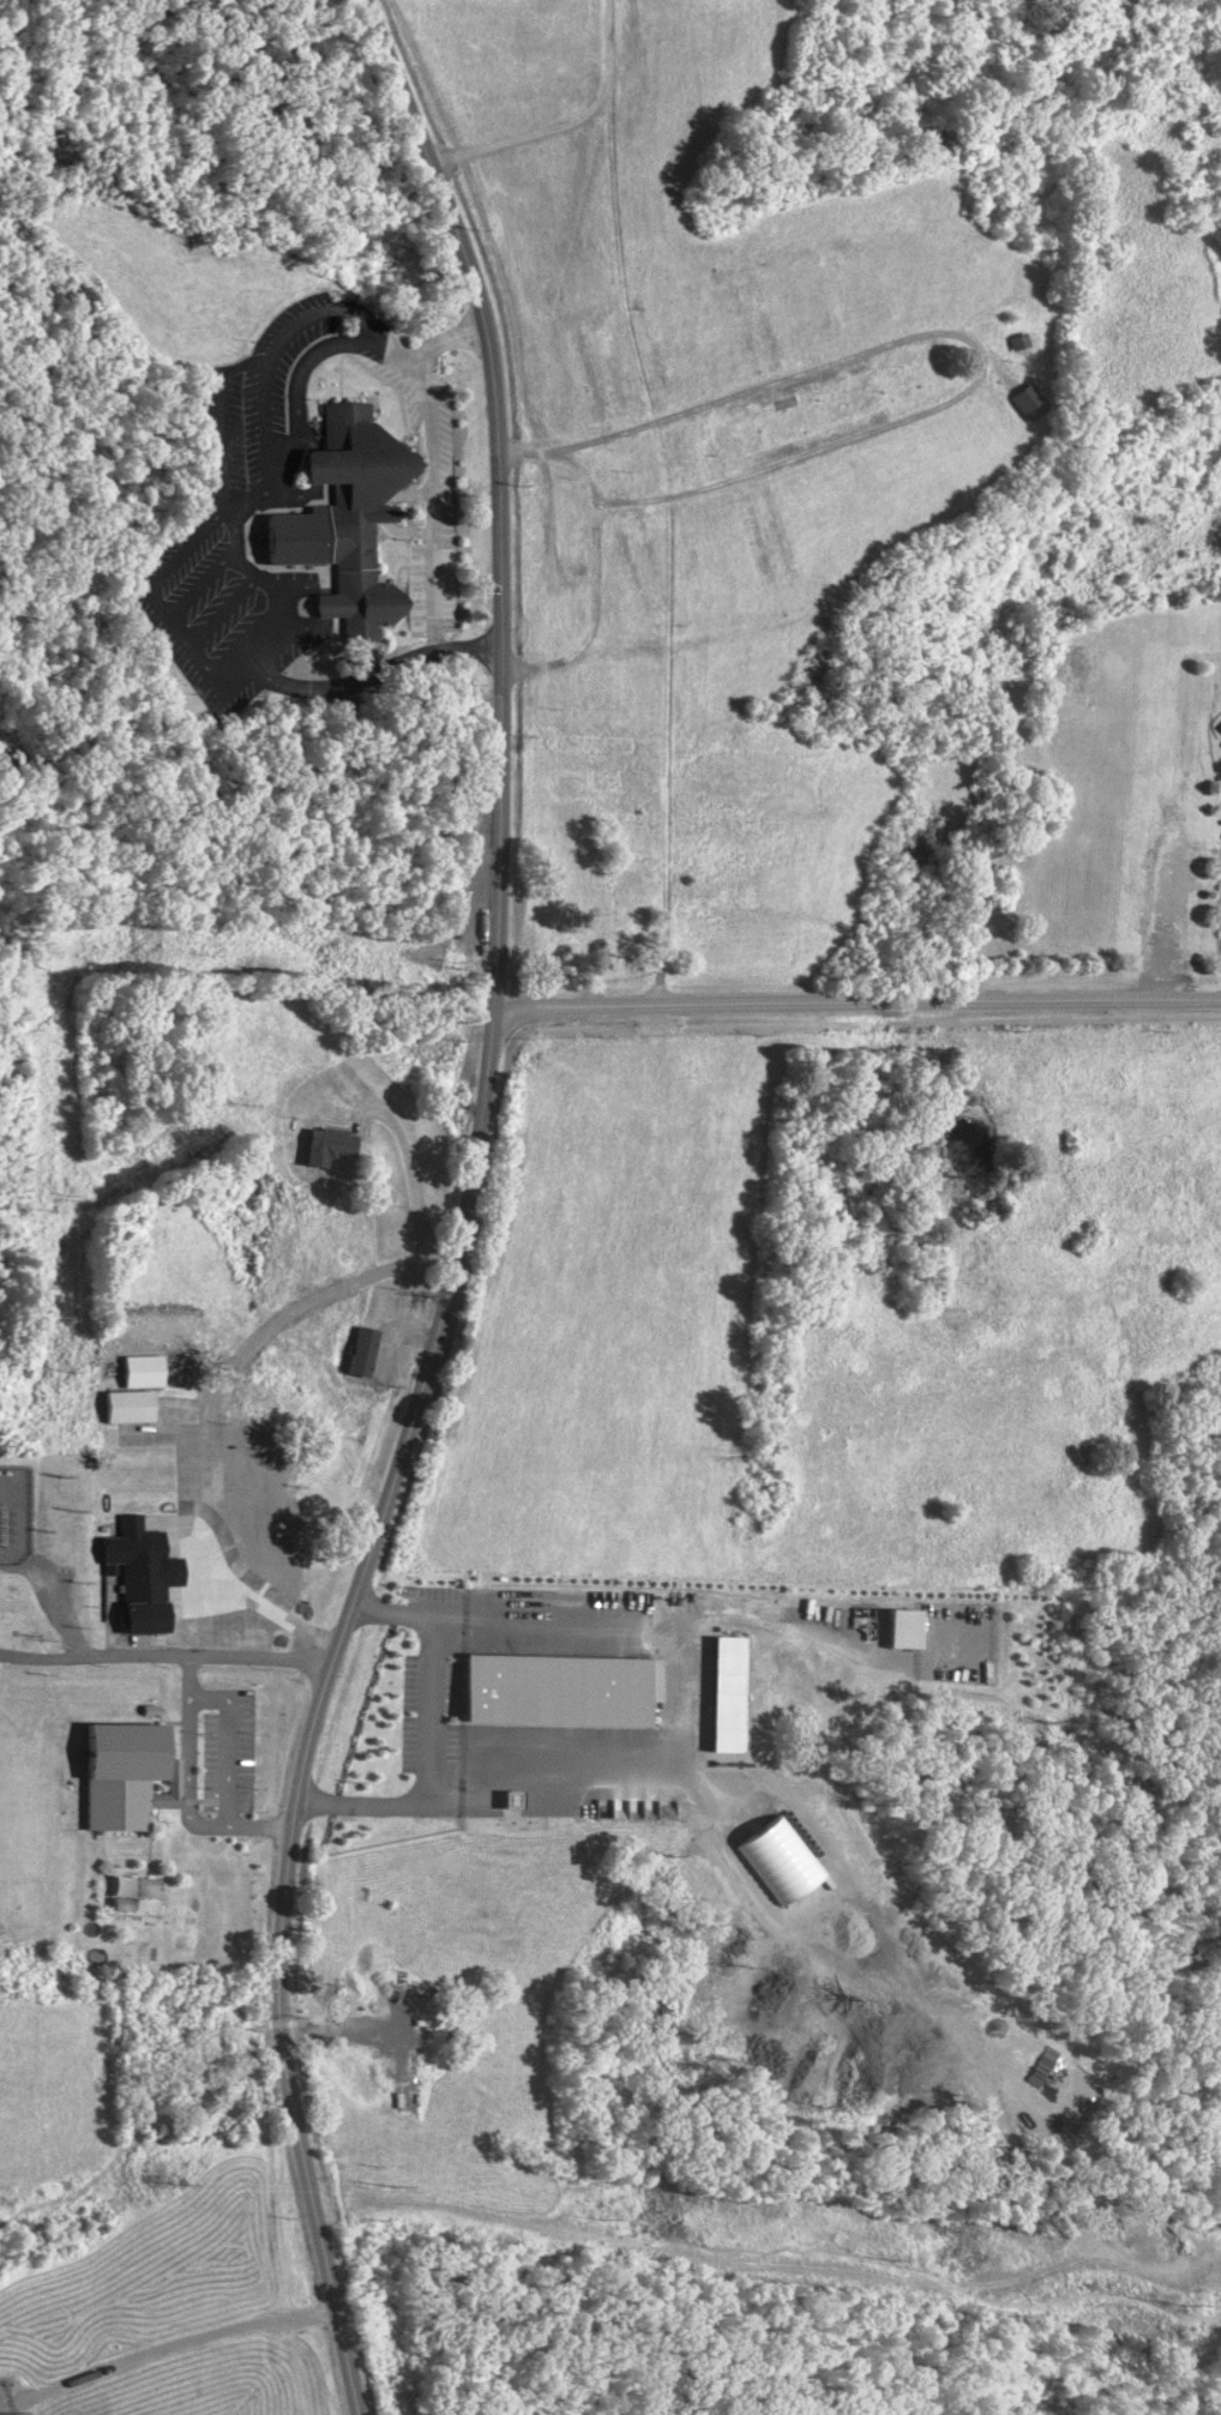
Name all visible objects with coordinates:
building: (1018, 341)
building: (1027, 402)
road: (439, 464)
building: (351, 518)
building: (1220, 727)
road: (859, 999)
building: (327, 1145)
road: (411, 1187)
road: (465, 1210)
building: (362, 1350)
building: (145, 1373)
building: (132, 1408)
power substation: (16, 1513)
road: (175, 1572)
building: (145, 1573)
road: (230, 1586)
road: (58, 1612)
road: (197, 1612)
building: (903, 1628)
road: (163, 1658)
building: (563, 1688)
building: (733, 1694)
building: (156, 1710)
road: (437, 1734)
road: (227, 1744)
road: (1211, 1765)
building: (132, 1775)
road: (186, 1791)
building: (782, 1860)
road: (1087, 1885)
building: (131, 1890)
road: (301, 1910)
traffic signals: (278, 1988)
road: (279, 2022)
traffic signals: (283, 2058)
road: (140, 2122)
road: (621, 2244)

